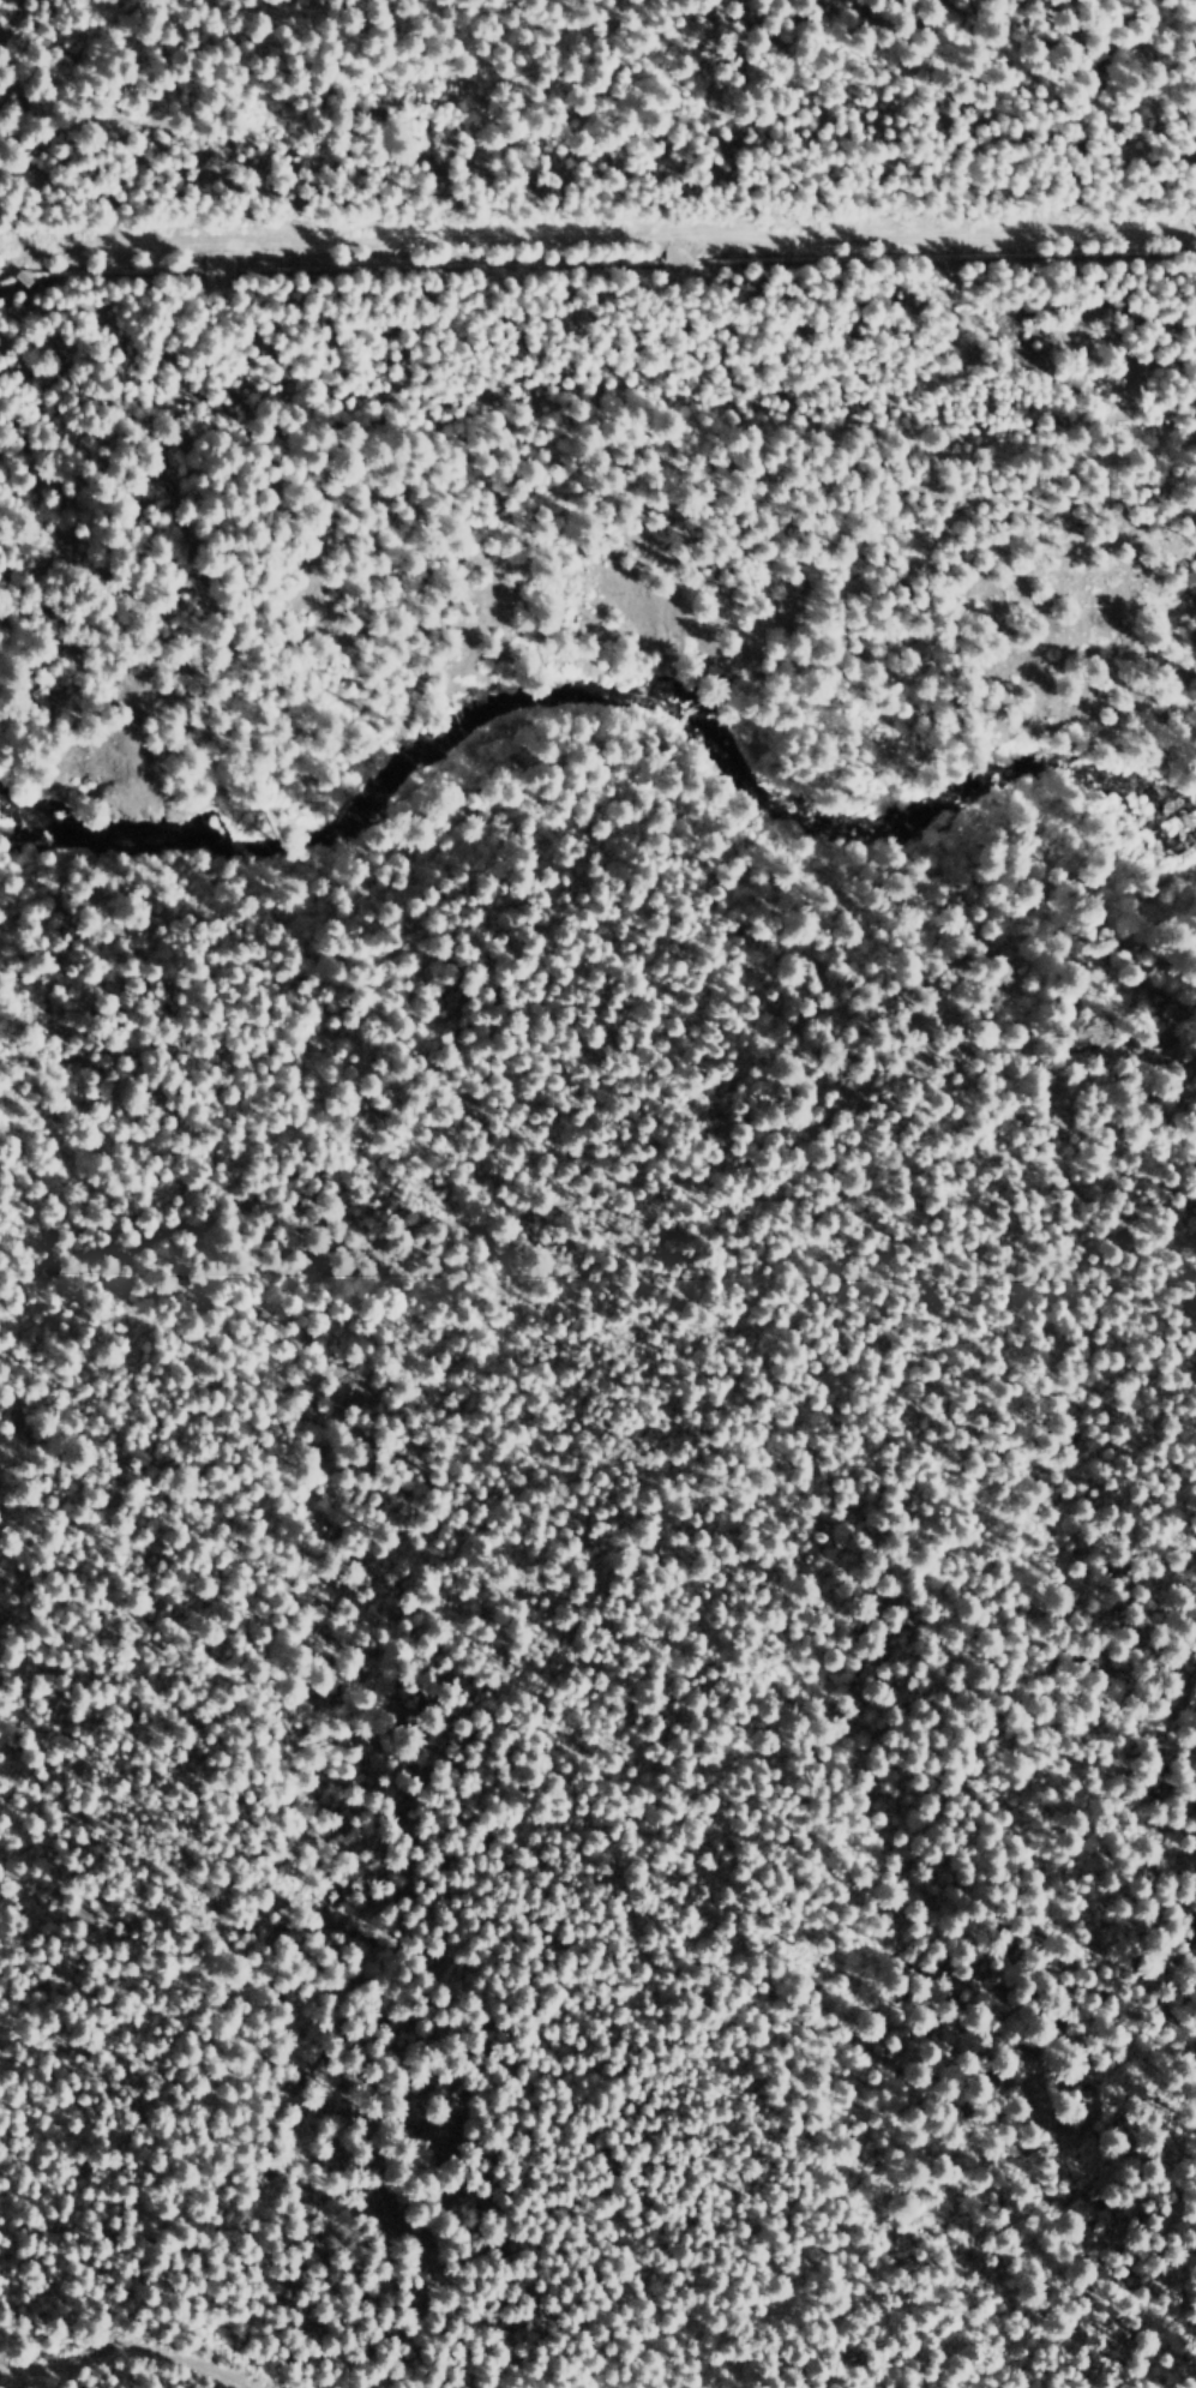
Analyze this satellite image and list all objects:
road: (827, 4)
road: (605, 238)
road: (674, 262)
river: (596, 700)
road: (569, 1198)
road: (130, 2348)

